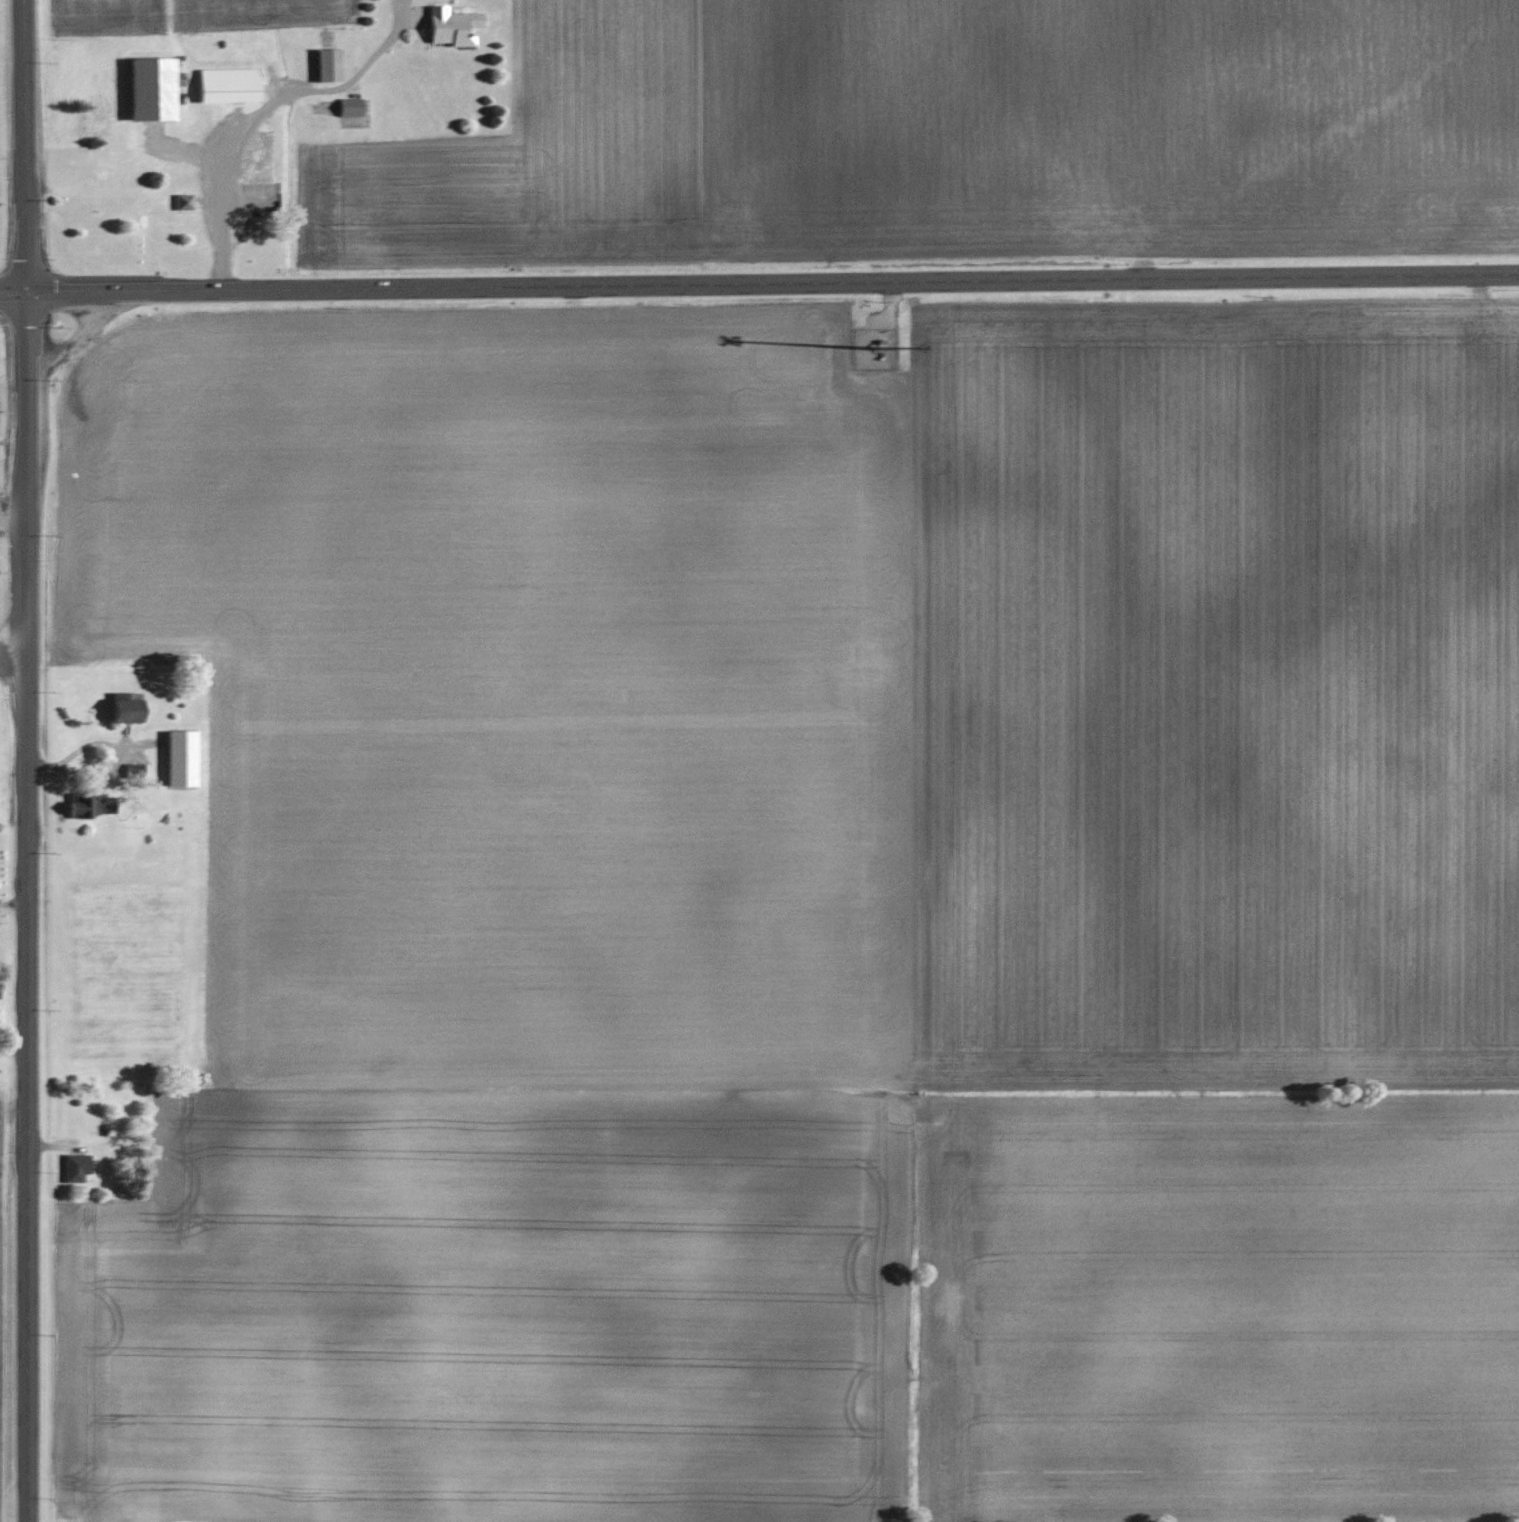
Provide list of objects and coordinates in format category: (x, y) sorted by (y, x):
building: (455, 25)
building: (230, 85)
building: (353, 105)
road: (26, 148)
building: (186, 200)
road: (773, 286)
road: (14, 297)
building: (131, 709)
building: (96, 805)
road: (25, 909)
building: (78, 1167)

